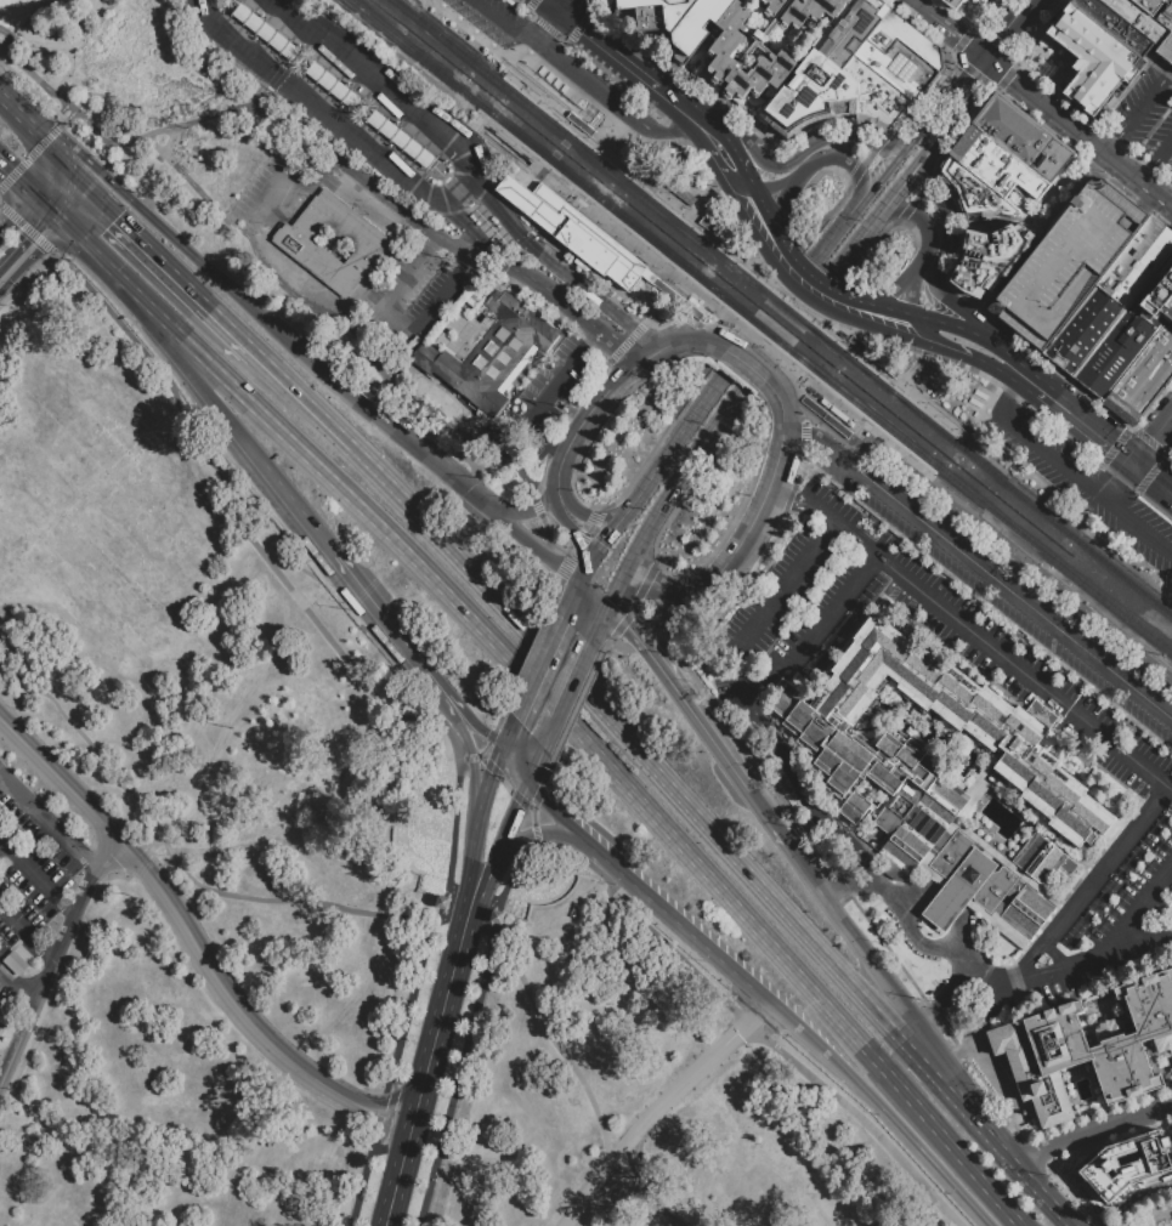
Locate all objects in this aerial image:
building: (952, 4)
road: (528, 5)
road: (553, 5)
road: (564, 5)
road: (590, 5)
road: (918, 5)
building: (1150, 6)
building: (799, 10)
traffic signals: (560, 11)
road: (295, 13)
parking lot: (808, 17)
building: (1134, 17)
building: (676, 19)
road: (551, 21)
road: (506, 24)
building: (1112, 24)
building: (1162, 24)
road: (544, 25)
road: (578, 25)
road: (525, 27)
parking lot: (508, 29)
road: (1009, 30)
building: (1075, 32)
building: (266, 33)
building: (849, 33)
park: (47, 35)
road: (956, 35)
building: (904, 39)
road: (601, 44)
road: (238, 46)
building: (1166, 49)
road: (502, 51)
building: (719, 52)
building: (1112, 61)
building: (1171, 61)
traffic signals: (986, 62)
road: (361, 64)
road: (570, 66)
building: (895, 66)
road: (29, 73)
road: (1170, 75)
road: (1012, 81)
building: (332, 85)
road: (545, 87)
road: (268, 89)
building: (1086, 89)
road: (576, 90)
building: (811, 95)
road: (667, 96)
building: (877, 96)
road: (941, 101)
road: (1134, 113)
parking lot: (1146, 113)
road: (23, 115)
road: (63, 117)
road: (572, 117)
road: (430, 119)
road: (636, 119)
road: (704, 120)
road: (334, 125)
road: (730, 126)
building: (581, 127)
road: (1069, 127)
road: (162, 129)
building: (1012, 129)
road: (481, 130)
road: (683, 135)
road: (293, 140)
building: (400, 140)
road: (698, 140)
road: (813, 140)
road: (938, 140)
road: (680, 142)
road: (459, 146)
road: (874, 147)
road: (51, 153)
road: (28, 155)
road: (737, 158)
road: (843, 158)
building: (1051, 160)
road: (1155, 160)
building: (995, 164)
traffic signals: (7, 174)
road: (928, 175)
road: (881, 178)
road: (68, 180)
road: (730, 180)
road: (1136, 180)
road: (16, 181)
road: (406, 181)
road: (44, 182)
road: (721, 182)
road: (772, 186)
road: (290, 188)
building: (975, 191)
road: (1069, 191)
road: (463, 192)
building: (680, 193)
traffic signals: (130, 199)
road: (394, 202)
road: (67, 204)
road: (22, 206)
road: (43, 208)
road: (782, 208)
road: (766, 214)
road: (454, 218)
traffic signals: (113, 221)
road: (482, 221)
road: (996, 221)
road: (554, 222)
road: (6, 223)
road: (924, 227)
road: (24, 228)
road: (837, 231)
building: (574, 232)
building: (723, 239)
road: (859, 239)
traffic signals: (34, 242)
road: (1069, 242)
building: (295, 244)
road: (27, 248)
building: (986, 256)
road: (940, 259)
road: (550, 261)
building: (1069, 261)
parking garage: (1069, 263)
building: (1137, 263)
road: (635, 266)
road: (165, 272)
road: (23, 274)
building: (647, 276)
road: (1007, 276)
road: (530, 277)
road: (810, 277)
road: (650, 278)
road: (119, 280)
road: (908, 294)
building: (675, 297)
road: (806, 297)
road: (887, 297)
building: (1160, 297)
railway: (782, 308)
road: (882, 308)
road: (271, 323)
road: (950, 325)
road: (402, 327)
railway: (758, 328)
building: (1082, 329)
road: (927, 335)
road: (611, 339)
road: (684, 341)
building: (1162, 341)
road: (361, 345)
road: (936, 346)
building: (1116, 348)
building: (487, 350)
road: (919, 351)
road: (650, 356)
road: (1010, 356)
building: (872, 357)
road: (989, 363)
road: (907, 375)
building: (1138, 384)
road: (1035, 386)
road: (1010, 393)
road: (300, 401)
road: (532, 401)
road: (984, 405)
road: (780, 408)
road: (216, 409)
road: (588, 410)
road: (992, 410)
building: (825, 416)
railway: (949, 419)
road: (1089, 427)
road: (1153, 437)
road: (859, 438)
road: (675, 442)
road: (1007, 452)
road: (1052, 459)
traffic signals: (1134, 462)
road: (641, 464)
railway: (913, 470)
road: (679, 476)
road: (1153, 476)
parking lot: (1077, 479)
road: (1120, 482)
road: (556, 486)
road: (689, 486)
road: (789, 499)
road: (296, 506)
road: (255, 507)
road: (527, 512)
road: (822, 512)
road: (589, 517)
road: (1139, 527)
road: (983, 528)
road: (570, 529)
road: (607, 533)
road: (855, 533)
traffic signals: (577, 538)
parking lot: (814, 539)
road: (848, 540)
traffic signals: (601, 544)
road: (537, 546)
road: (729, 557)
road: (980, 567)
road: (585, 571)
road: (561, 581)
road: (650, 583)
road: (616, 588)
parking lot: (1006, 588)
road: (591, 595)
road: (775, 595)
road: (571, 600)
road: (384, 618)
road: (624, 618)
road: (596, 625)
road: (814, 625)
traffic signals: (625, 628)
road: (661, 628)
road: (633, 637)
traffic signals: (588, 645)
road: (530, 657)
road: (539, 668)
road: (1023, 672)
road: (565, 693)
road: (579, 708)
road: (500, 717)
traffic signals: (516, 719)
road: (469, 720)
road: (607, 720)
building: (966, 723)
road: (464, 736)
traffic signals: (483, 736)
road: (508, 736)
road: (916, 737)
road: (921, 740)
road: (488, 742)
road: (726, 759)
road: (536, 764)
road: (990, 766)
road: (514, 770)
road: (489, 771)
road: (616, 771)
road: (550, 773)
road: (498, 776)
road: (798, 787)
road: (537, 798)
traffic signals: (520, 806)
building: (906, 807)
road: (550, 810)
road: (968, 819)
road: (47, 822)
road: (16, 824)
road: (510, 828)
road: (534, 830)
road: (528, 839)
road: (472, 855)
building: (1034, 855)
road: (179, 864)
road: (1104, 864)
building: (1054, 868)
road: (35, 876)
road: (815, 884)
road: (842, 885)
parking lot: (29, 886)
road: (1038, 889)
road: (899, 890)
park: (339, 891)
road: (480, 896)
building: (438, 902)
road: (171, 904)
building: (945, 907)
road: (944, 909)
building: (496, 918)
road: (673, 919)
road: (436, 925)
road: (1121, 927)
road: (63, 930)
road: (26, 931)
road: (961, 933)
road: (917, 940)
road: (1149, 940)
road: (1053, 954)
road: (966, 961)
road: (1024, 964)
road: (882, 976)
road: (1036, 977)
road: (985, 980)
road: (15, 988)
road: (940, 1010)
road: (981, 1014)
road: (438, 1021)
road: (884, 1021)
road: (468, 1028)
road: (751, 1028)
building: (1086, 1049)
road: (10, 1056)
road: (992, 1071)
road: (584, 1085)
road: (659, 1107)
road: (374, 1108)
road: (884, 1111)
road: (386, 1114)
road: (1092, 1133)
road: (987, 1134)
building: (1121, 1169)
road: (398, 1173)
road: (362, 1181)
road: (1154, 1215)

